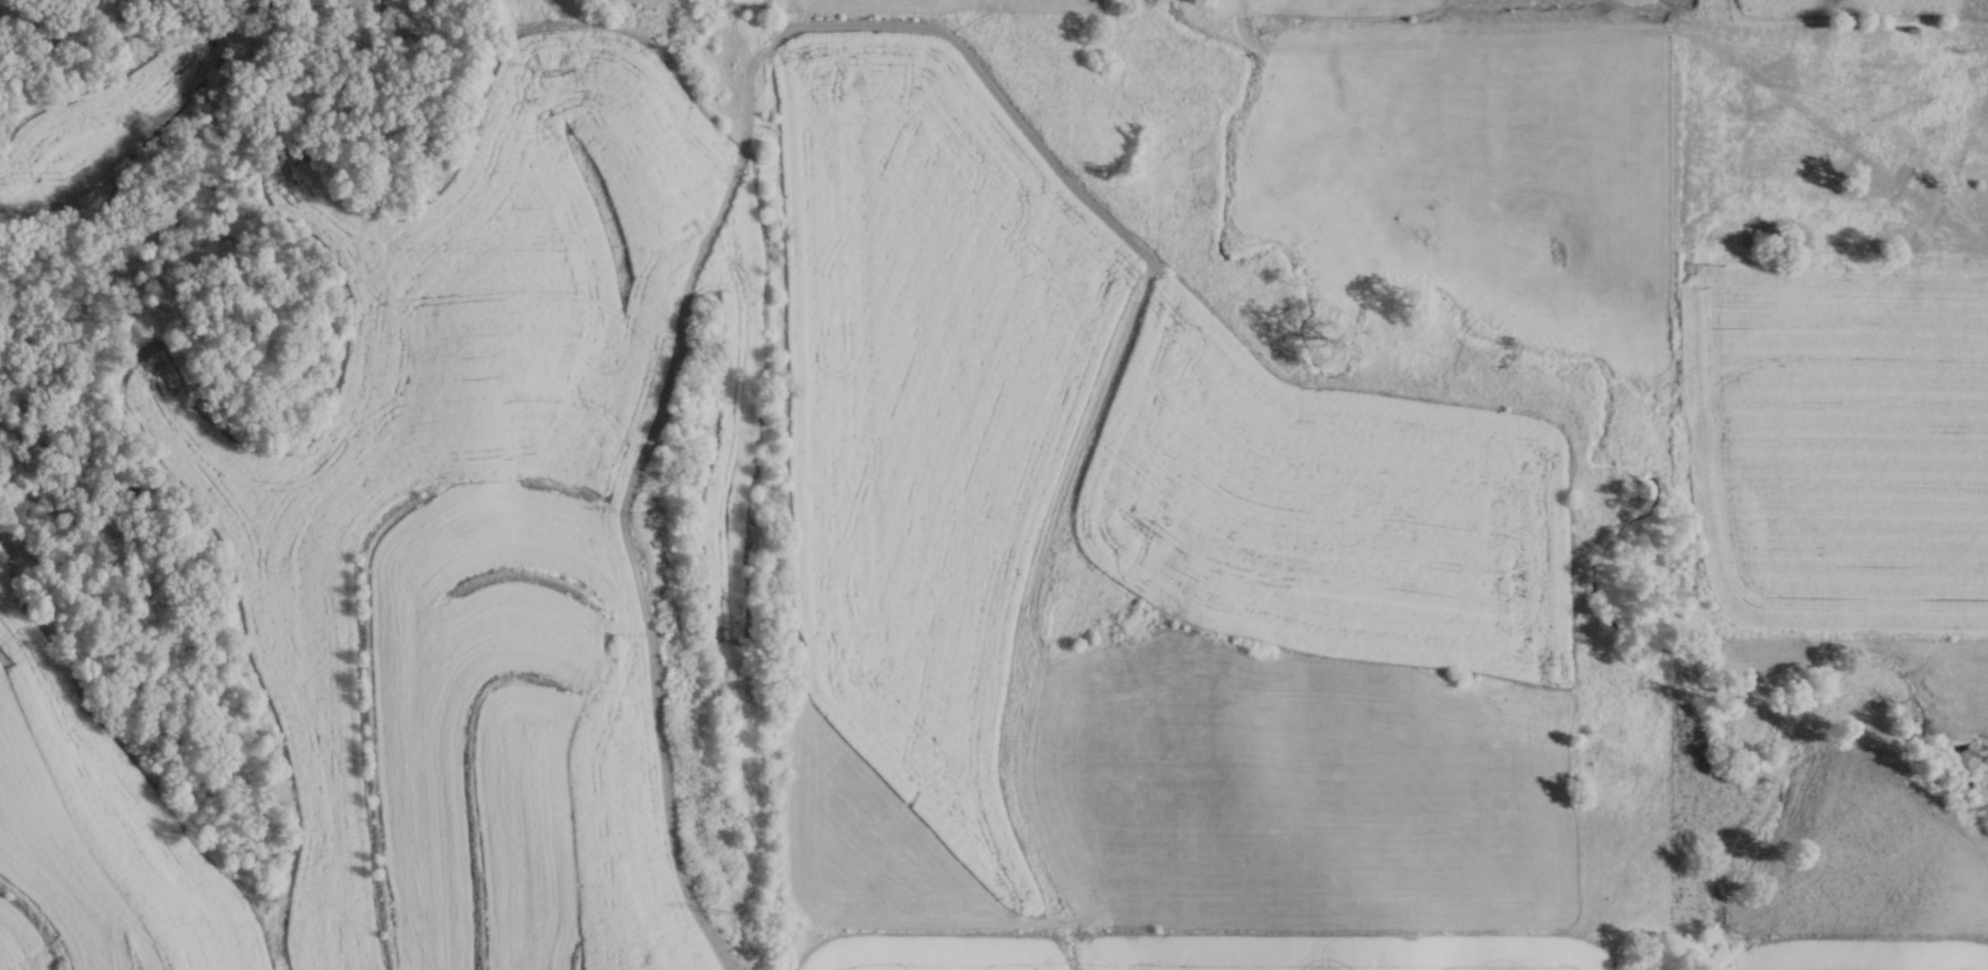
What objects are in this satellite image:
power tower: (557, 69)
power tower: (648, 512)
power tower: (725, 907)

